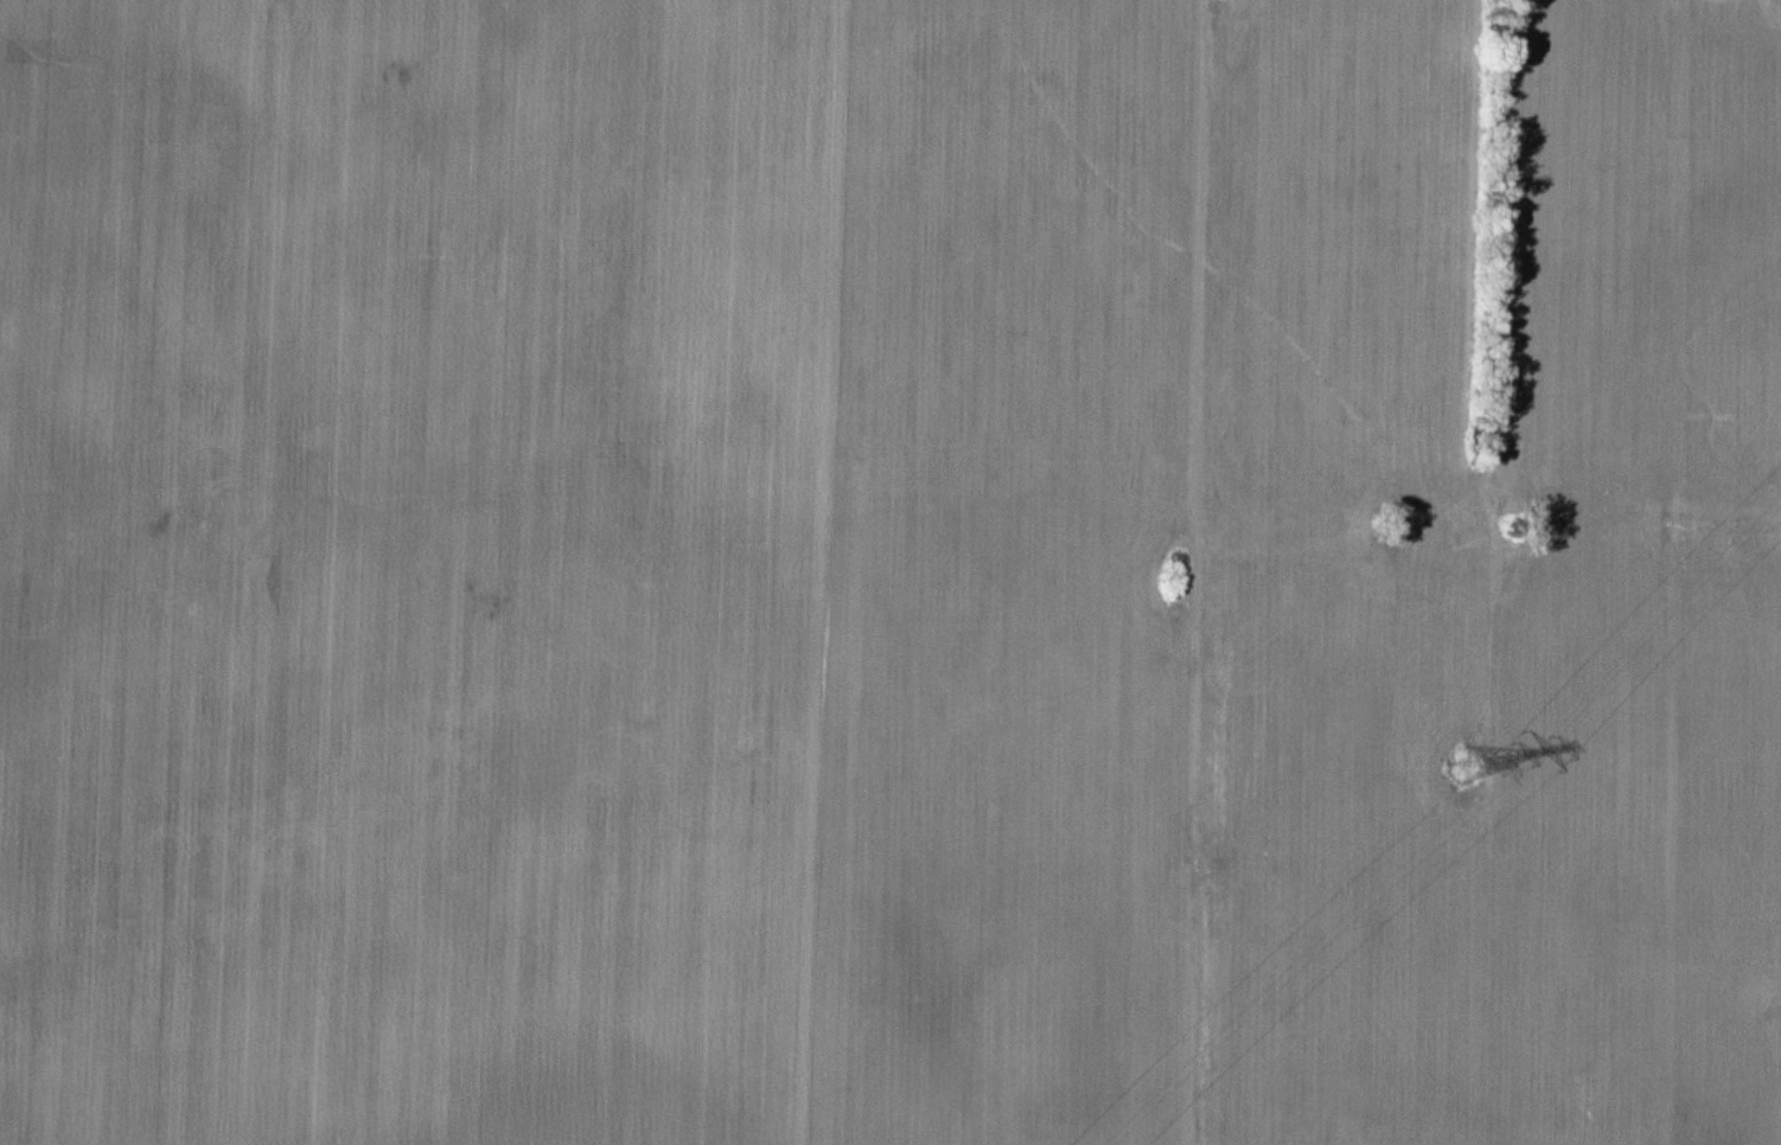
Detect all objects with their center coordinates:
power tower: (1469, 763)

